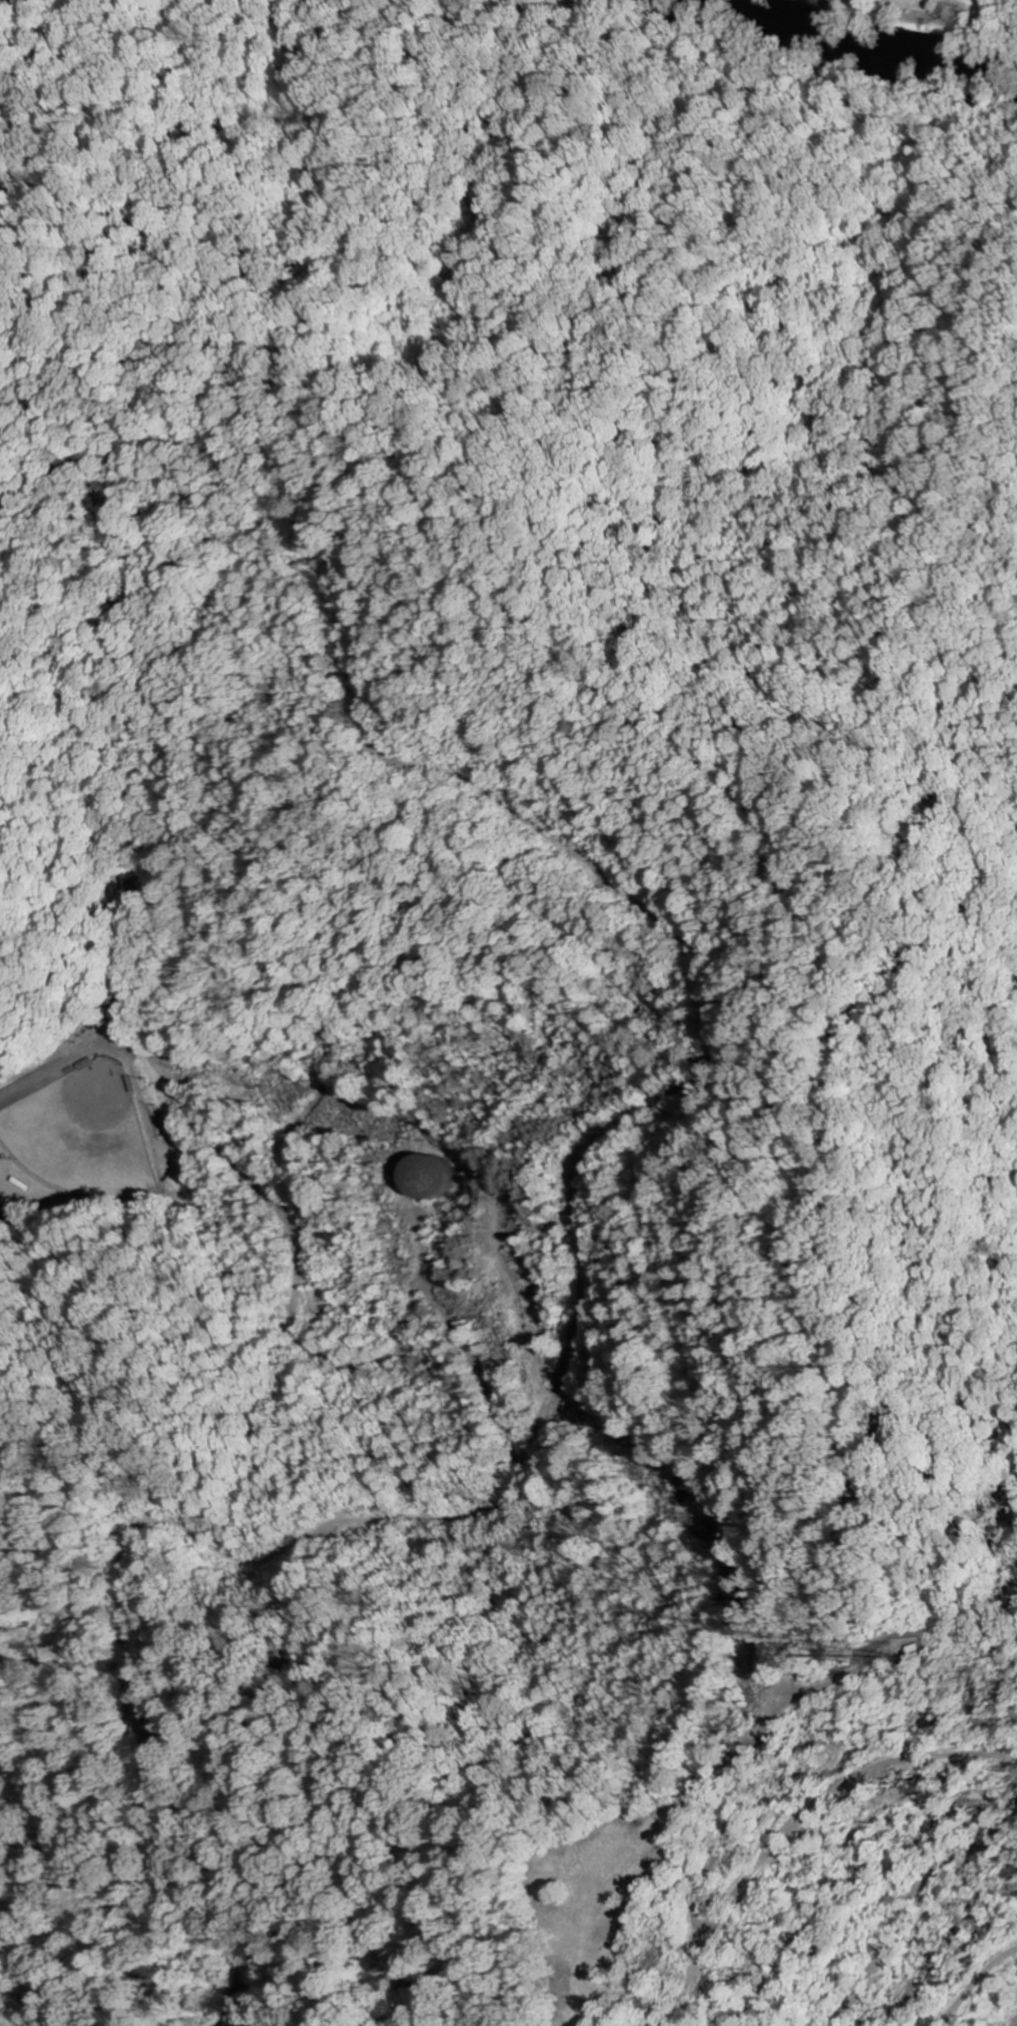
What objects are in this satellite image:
river: (858, 37)
building: (422, 1179)

